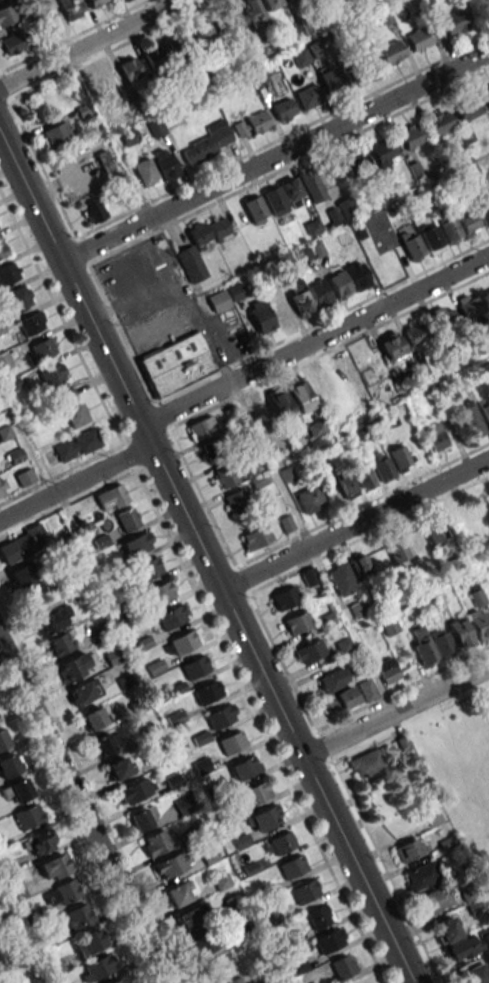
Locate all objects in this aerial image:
building: (124, 0)
building: (96, 2)
building: (270, 4)
building: (71, 8)
building: (254, 12)
building: (6, 15)
building: (455, 21)
building: (300, 28)
building: (202, 33)
building: (419, 38)
building: (12, 42)
road: (88, 43)
building: (177, 46)
building: (391, 52)
building: (300, 57)
building: (153, 58)
building: (129, 68)
building: (352, 74)
building: (105, 79)
building: (330, 79)
building: (487, 95)
building: (308, 97)
building: (284, 109)
building: (468, 110)
building: (258, 122)
building: (440, 122)
building: (156, 128)
building: (54, 134)
building: (412, 135)
building: (209, 142)
building: (384, 153)
road: (273, 158)
building: (105, 160)
building: (165, 164)
building: (355, 166)
building: (145, 172)
building: (311, 184)
building: (283, 196)
building: (346, 207)
building: (93, 210)
building: (255, 210)
building: (484, 211)
building: (469, 222)
building: (218, 227)
building: (450, 229)
building: (431, 238)
building: (412, 247)
building: (2, 248)
building: (194, 252)
building: (7, 273)
building: (357, 276)
building: (338, 285)
building: (236, 293)
building: (487, 293)
building: (319, 294)
building: (18, 298)
building: (300, 298)
building: (218, 301)
building: (283, 313)
building: (261, 317)
building: (444, 319)
building: (30, 324)
building: (416, 333)
building: (393, 345)
building: (42, 349)
building: (4, 360)
building: (177, 363)
building: (50, 376)
road: (236, 378)
building: (317, 387)
building: (300, 395)
building: (281, 404)
building: (72, 407)
building: (485, 411)
building: (388, 421)
building: (471, 421)
building: (201, 428)
building: (316, 428)
building: (436, 437)
building: (76, 445)
building: (213, 449)
building: (401, 458)
building: (225, 475)
building: (24, 477)
building: (365, 478)
building: (2, 486)
building: (347, 486)
building: (113, 497)
building: (310, 499)
building: (236, 501)
building: (127, 520)
road: (355, 525)
building: (435, 531)
building: (256, 537)
building: (22, 544)
building: (136, 545)
building: (397, 549)
road: (205, 559)
building: (361, 564)
building: (147, 568)
building: (24, 575)
building: (310, 576)
building: (342, 578)
road: (192, 587)
building: (159, 592)
building: (285, 598)
building: (358, 609)
building: (479, 616)
building: (171, 617)
building: (325, 620)
building: (53, 621)
building: (297, 623)
building: (390, 627)
building: (461, 633)
building: (183, 642)
building: (60, 643)
building: (432, 645)
building: (309, 651)
building: (76, 665)
building: (195, 667)
building: (386, 671)
building: (334, 680)
building: (367, 690)
building: (84, 691)
building: (207, 692)
building: (340, 700)
road: (396, 712)
building: (219, 717)
building: (94, 718)
building: (3, 739)
building: (232, 742)
building: (107, 743)
building: (403, 744)
building: (366, 763)
building: (10, 764)
building: (202, 766)
building: (119, 767)
building: (245, 767)
park: (461, 777)
building: (18, 790)
building: (135, 790)
building: (256, 792)
road: (82, 813)
building: (431, 814)
building: (28, 816)
building: (144, 818)
building: (265, 818)
building: (41, 842)
building: (159, 842)
building: (281, 842)
building: (446, 842)
building: (408, 850)
building: (172, 864)
building: (54, 866)
building: (293, 866)
building: (420, 876)
building: (15, 888)
building: (305, 891)
building: (62, 893)
building: (178, 893)
building: (434, 900)
building: (474, 907)
building: (319, 916)
building: (75, 918)
building: (189, 919)
building: (446, 929)
building: (486, 937)
building: (88, 941)
building: (329, 941)
building: (201, 944)
building: (343, 967)
building: (97, 968)
building: (475, 975)
building: (119, 980)
building: (235, 981)

